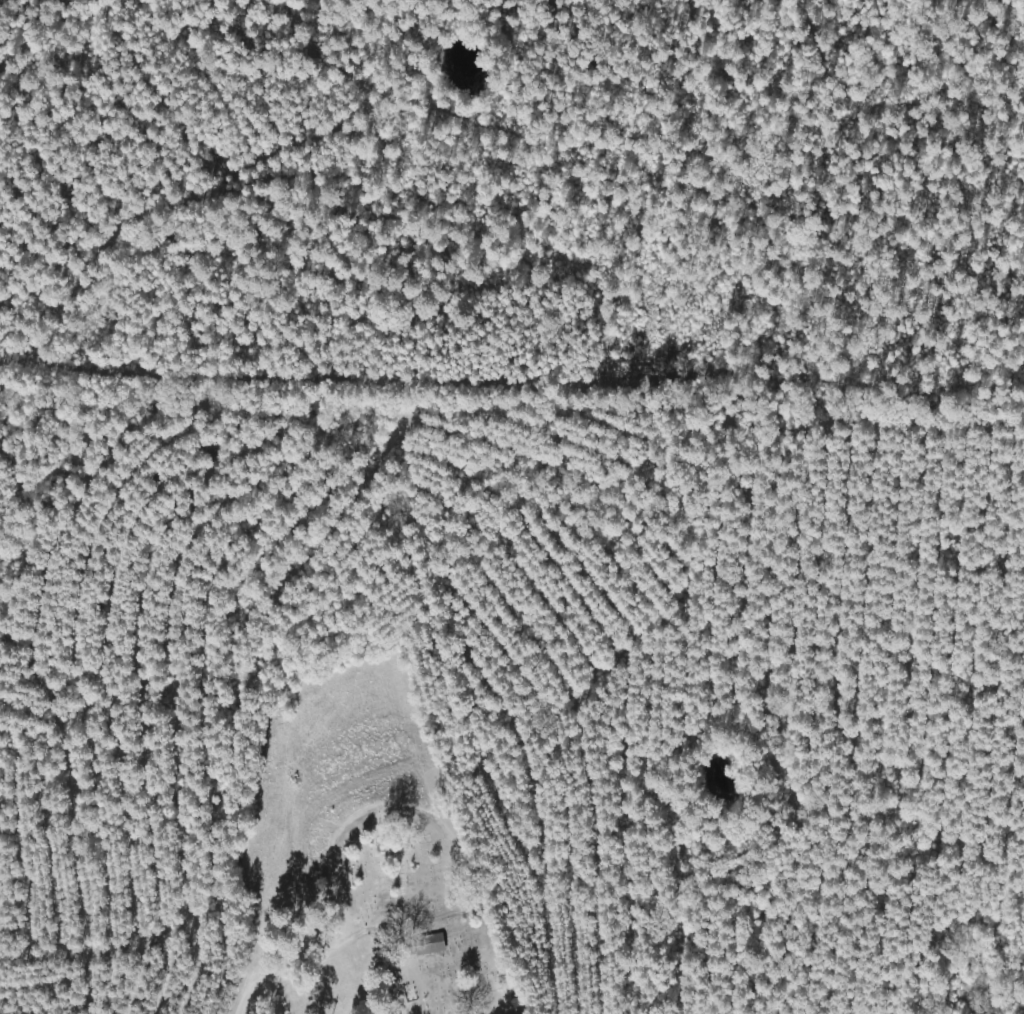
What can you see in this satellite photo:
building: (434, 946)
road: (295, 969)

